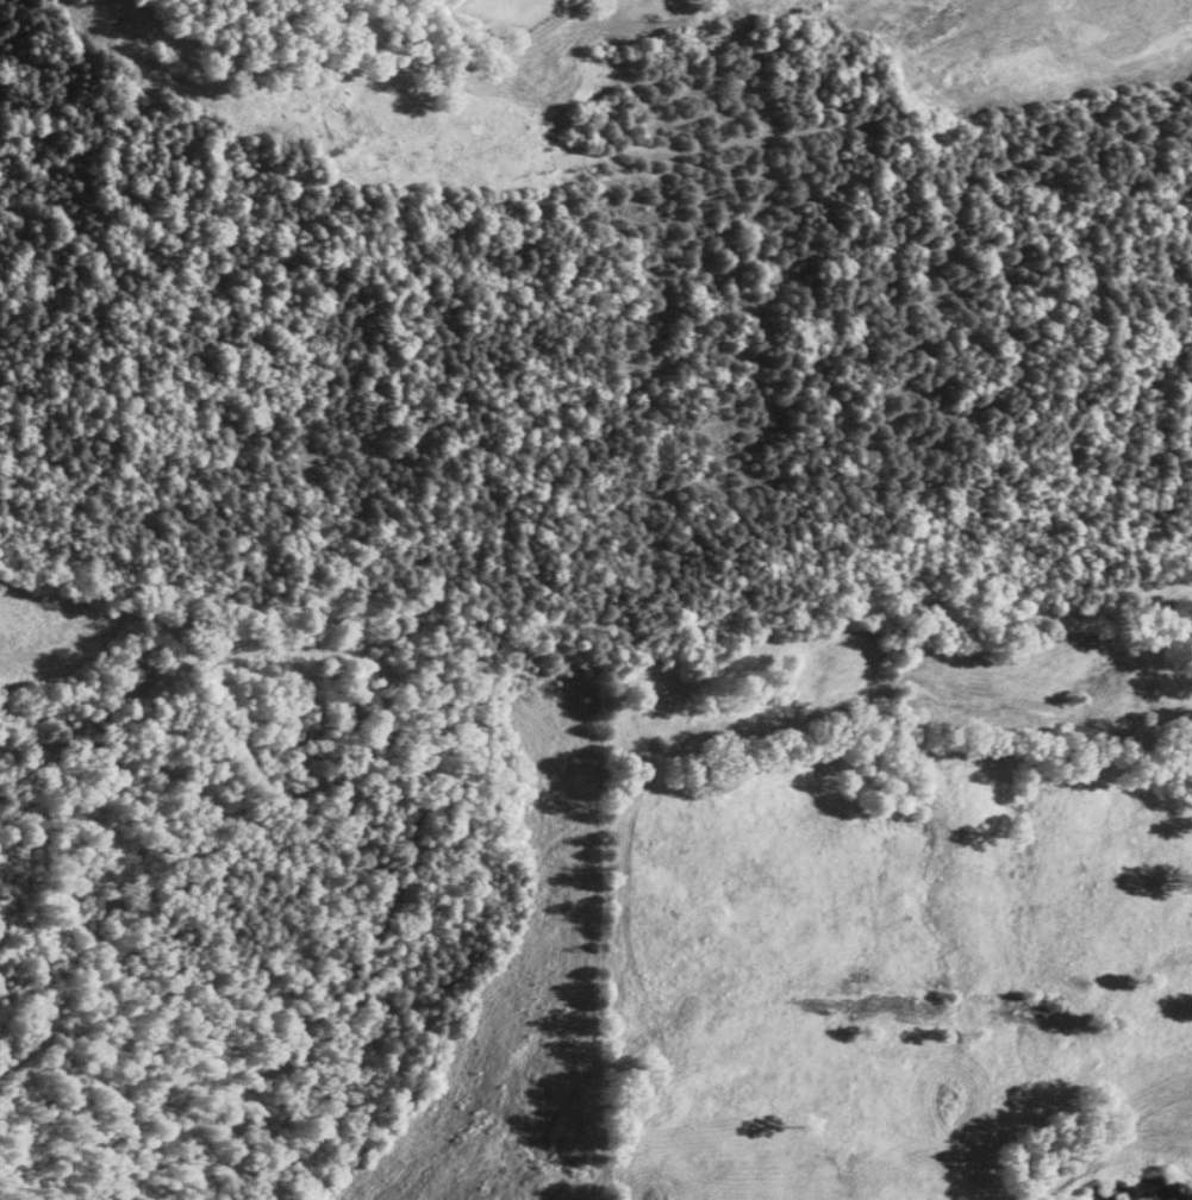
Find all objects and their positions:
road: (354, 65)

